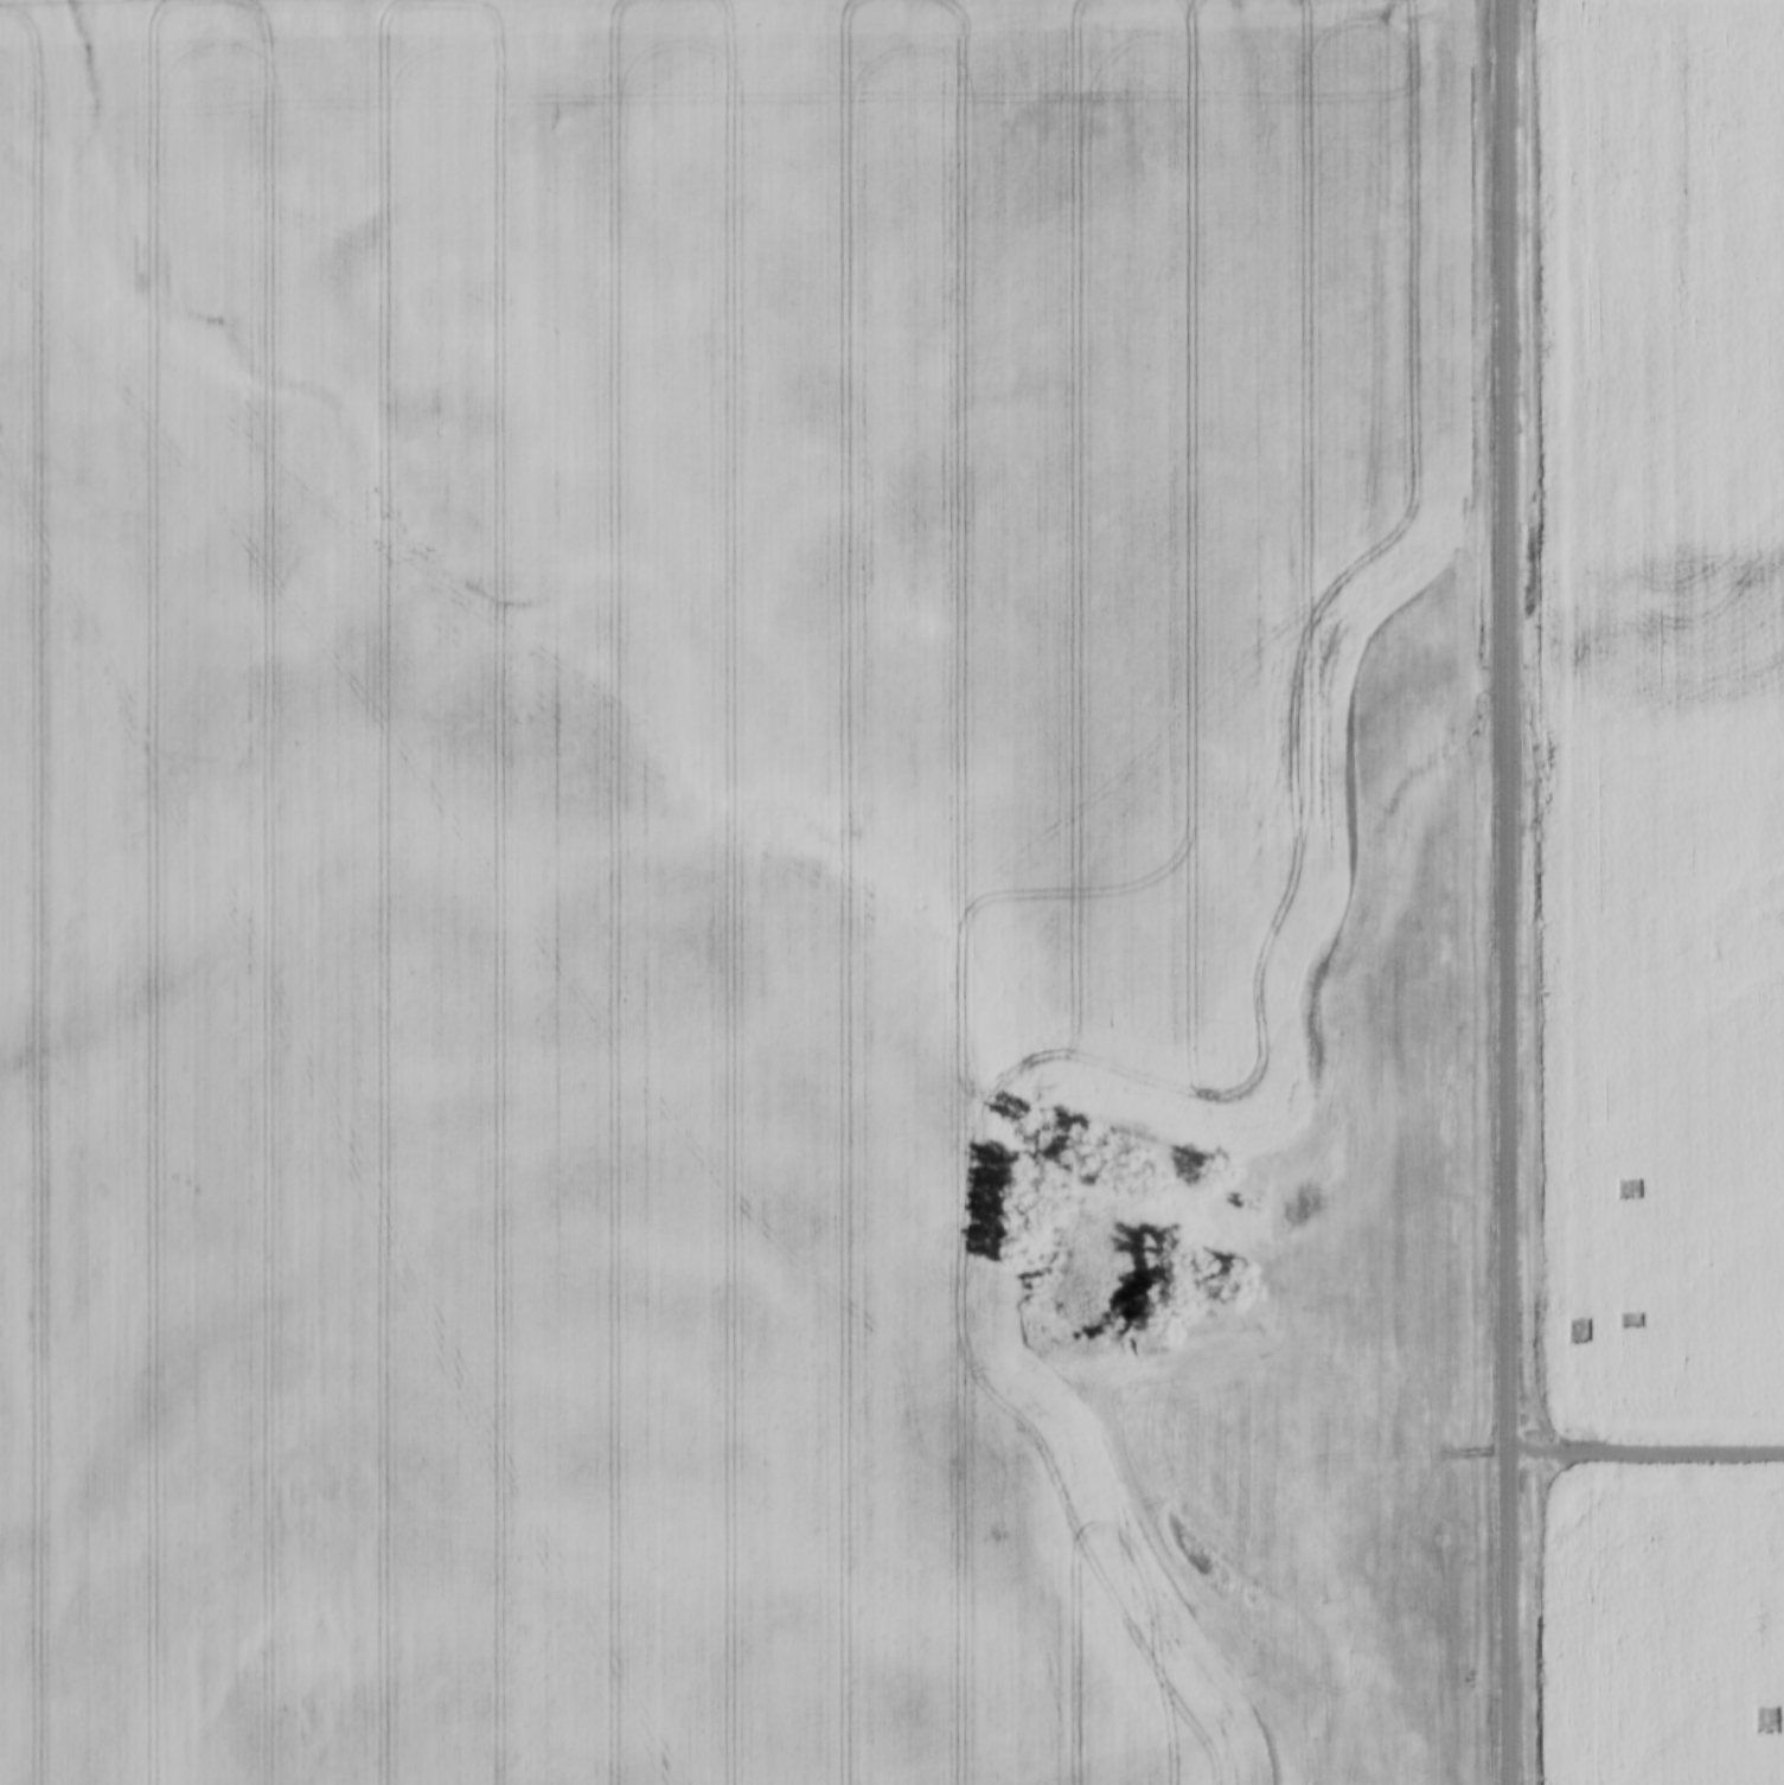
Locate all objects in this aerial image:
road: (1502, 892)

